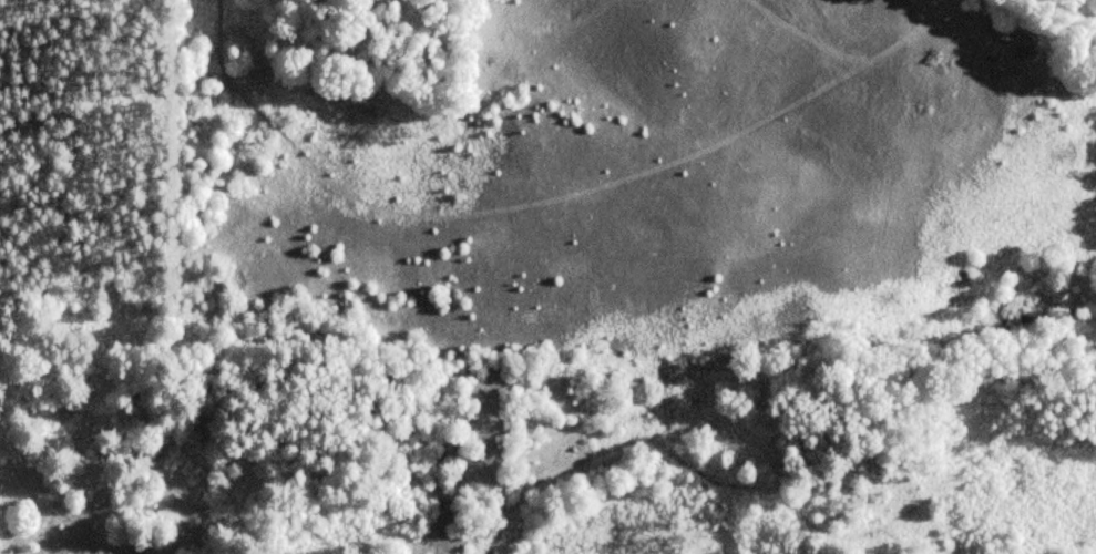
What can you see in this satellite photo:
building: (1025, 52)

